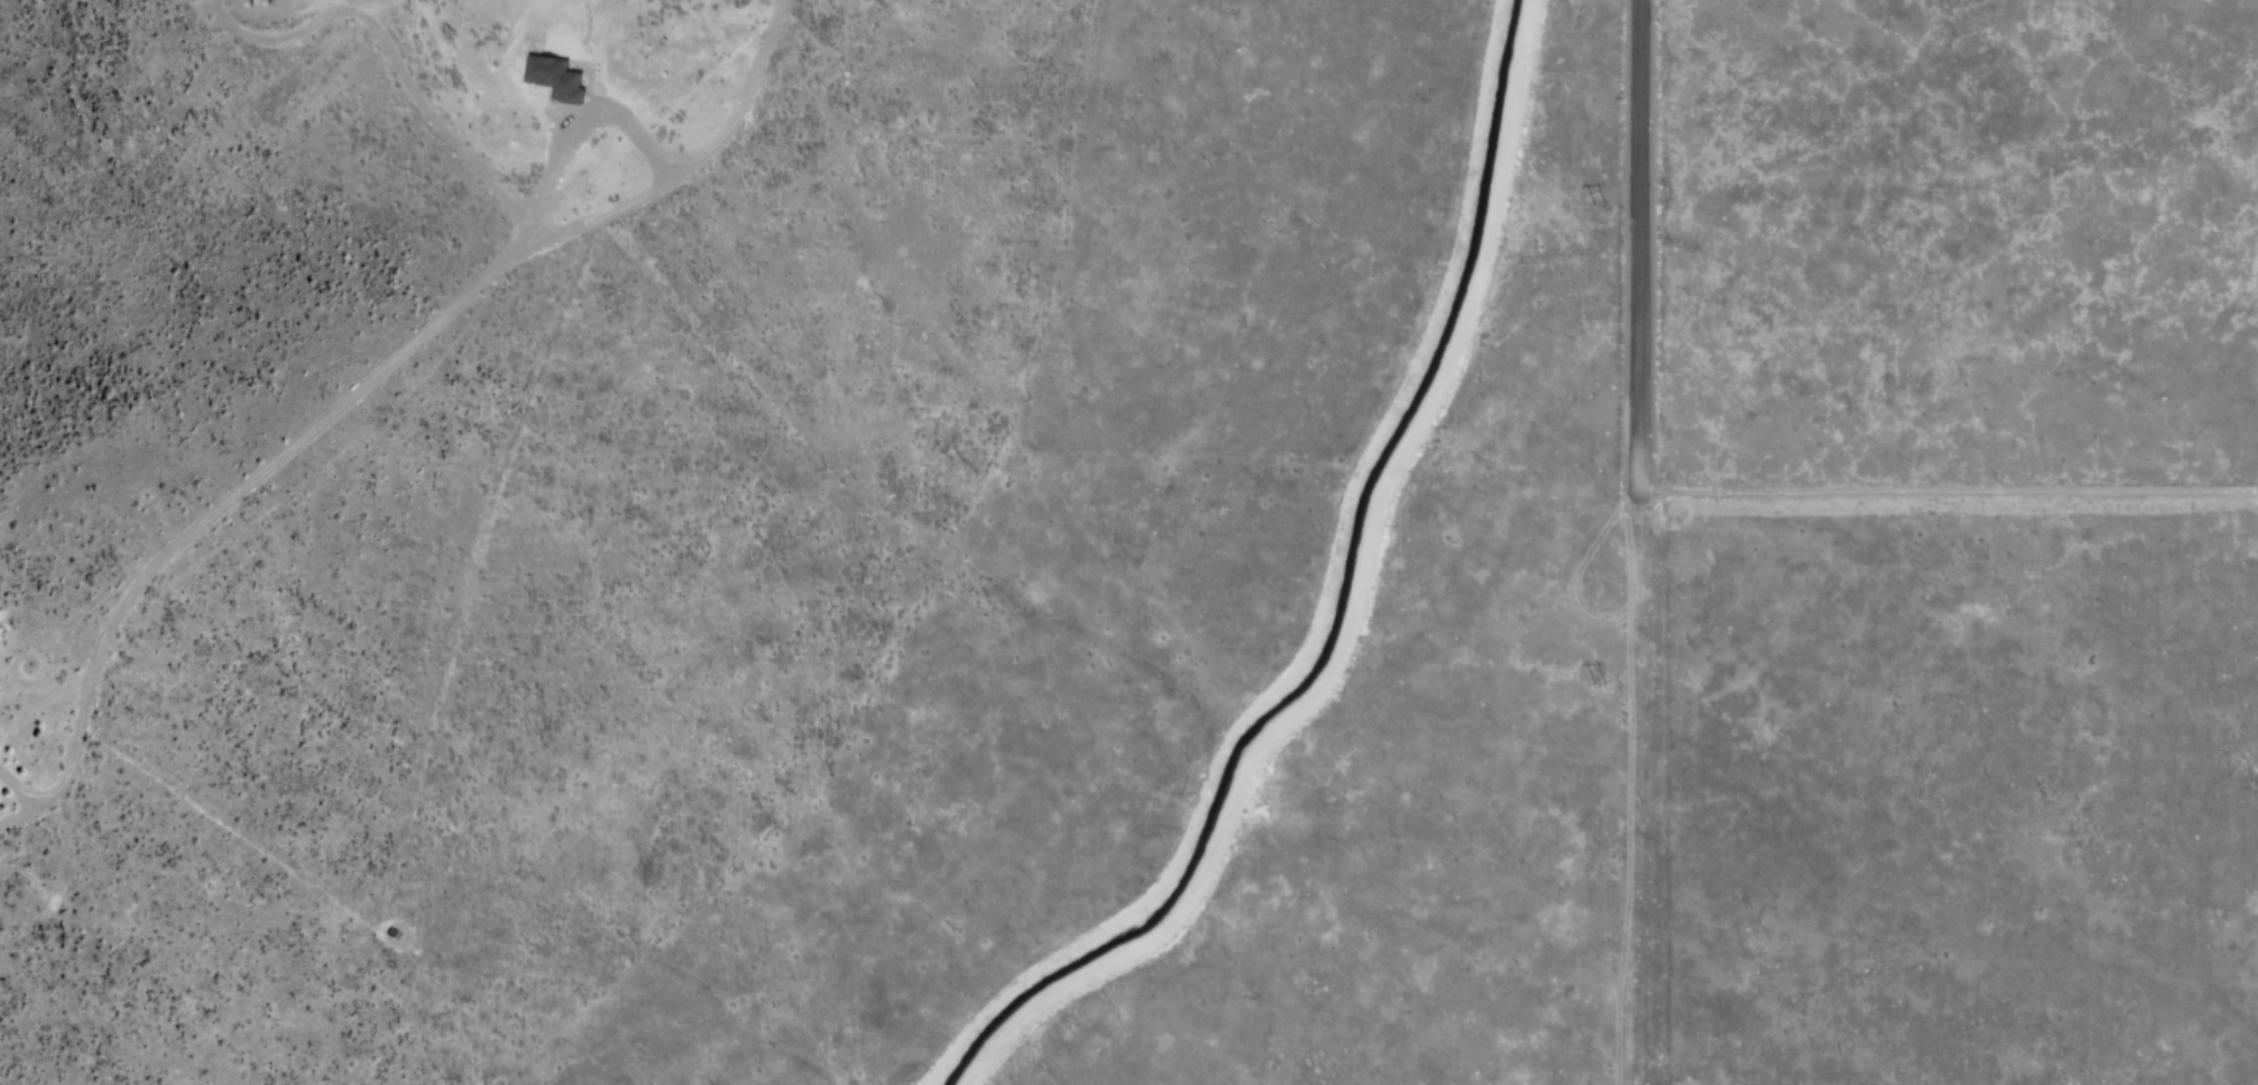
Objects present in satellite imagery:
road: (577, 128)
power tower: (1603, 199)
road: (1638, 244)
road: (361, 387)
road: (1947, 489)
power tower: (1602, 676)

